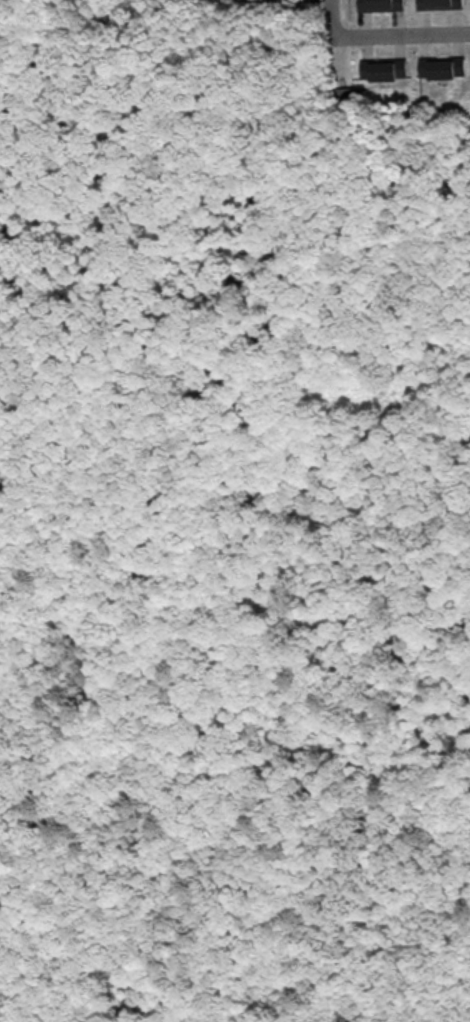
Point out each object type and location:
building: (440, 4)
building: (381, 5)
road: (329, 16)
road: (401, 33)
building: (442, 66)
building: (384, 68)

